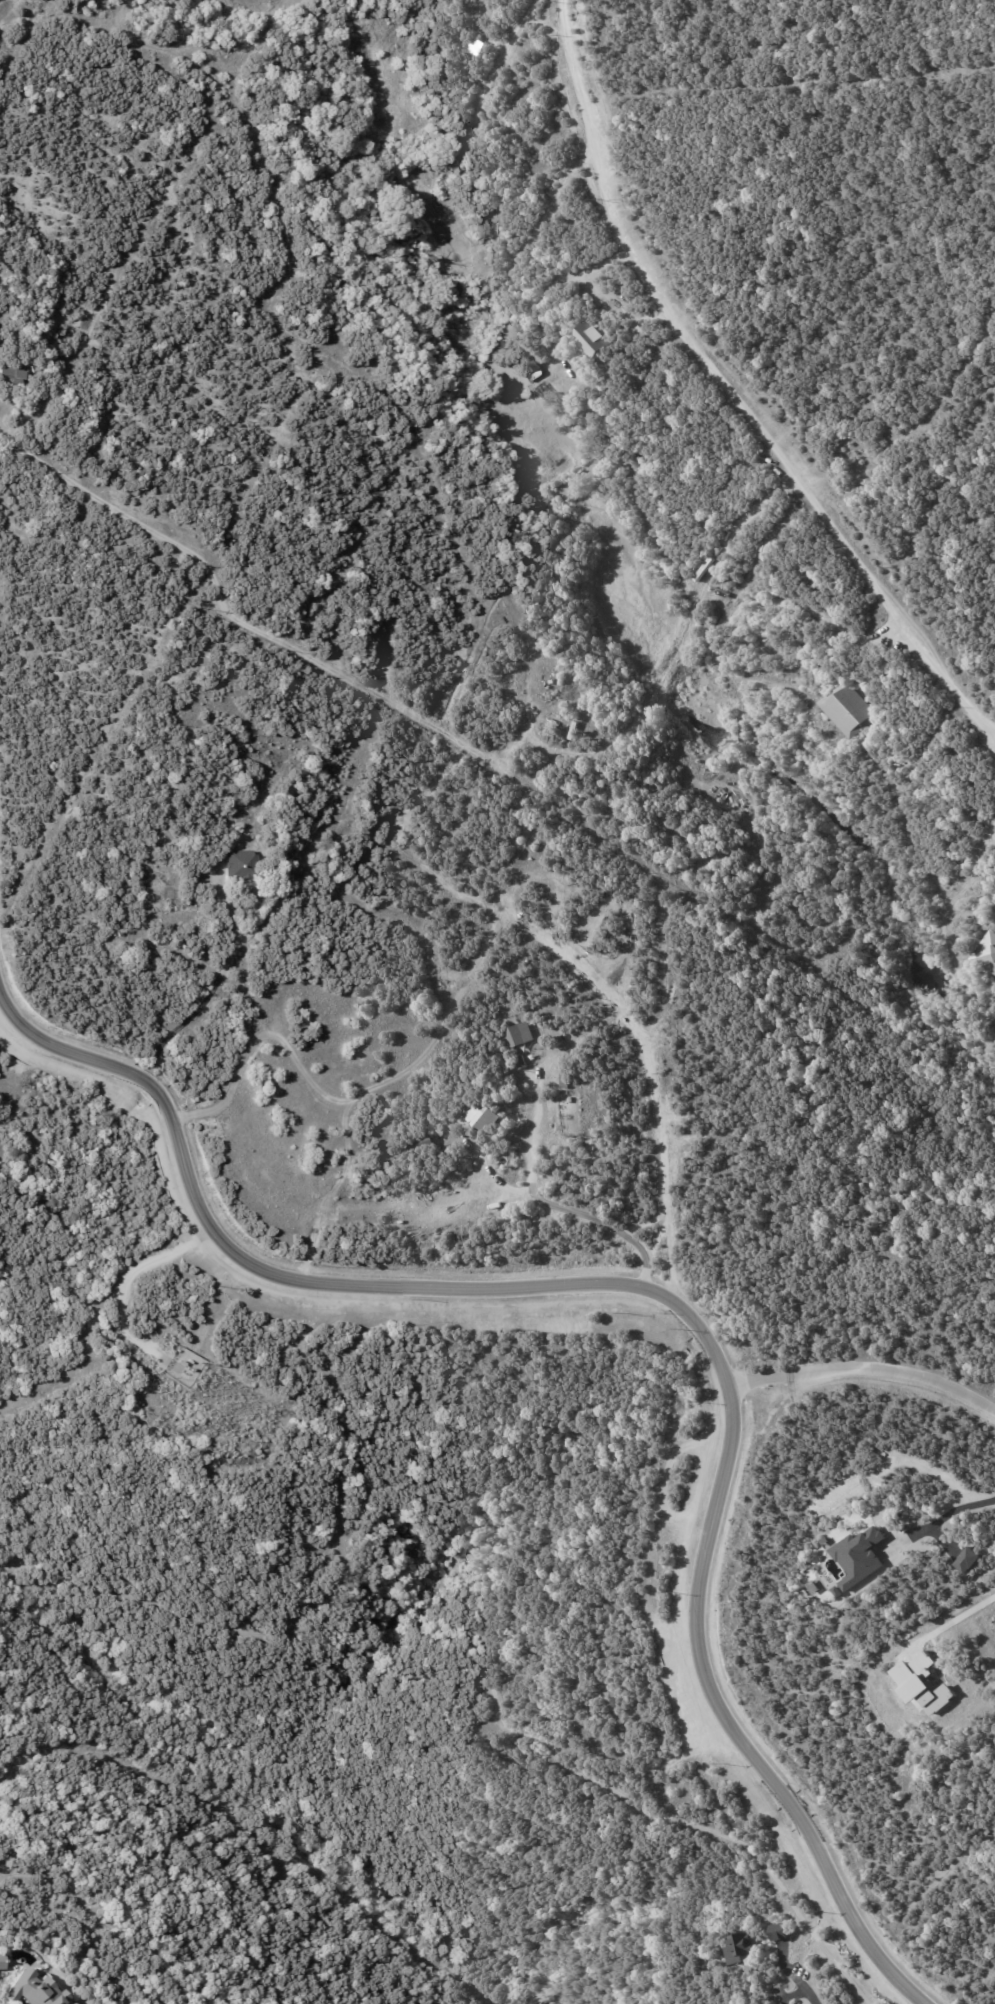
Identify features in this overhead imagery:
building: (593, 339)
building: (12, 372)
road: (728, 388)
building: (852, 711)
building: (242, 865)
building: (187, 898)
building: (988, 953)
road: (207, 992)
building: (519, 1039)
building: (564, 1081)
building: (485, 1116)
road: (550, 1202)
road: (134, 1272)
road: (656, 1295)
road: (863, 1369)
road: (948, 1522)
building: (859, 1557)
building: (967, 1560)
road: (952, 1632)
building: (922, 1684)
building: (987, 1838)
building: (785, 1931)
building: (747, 1948)
road: (798, 1980)
building: (36, 1991)

